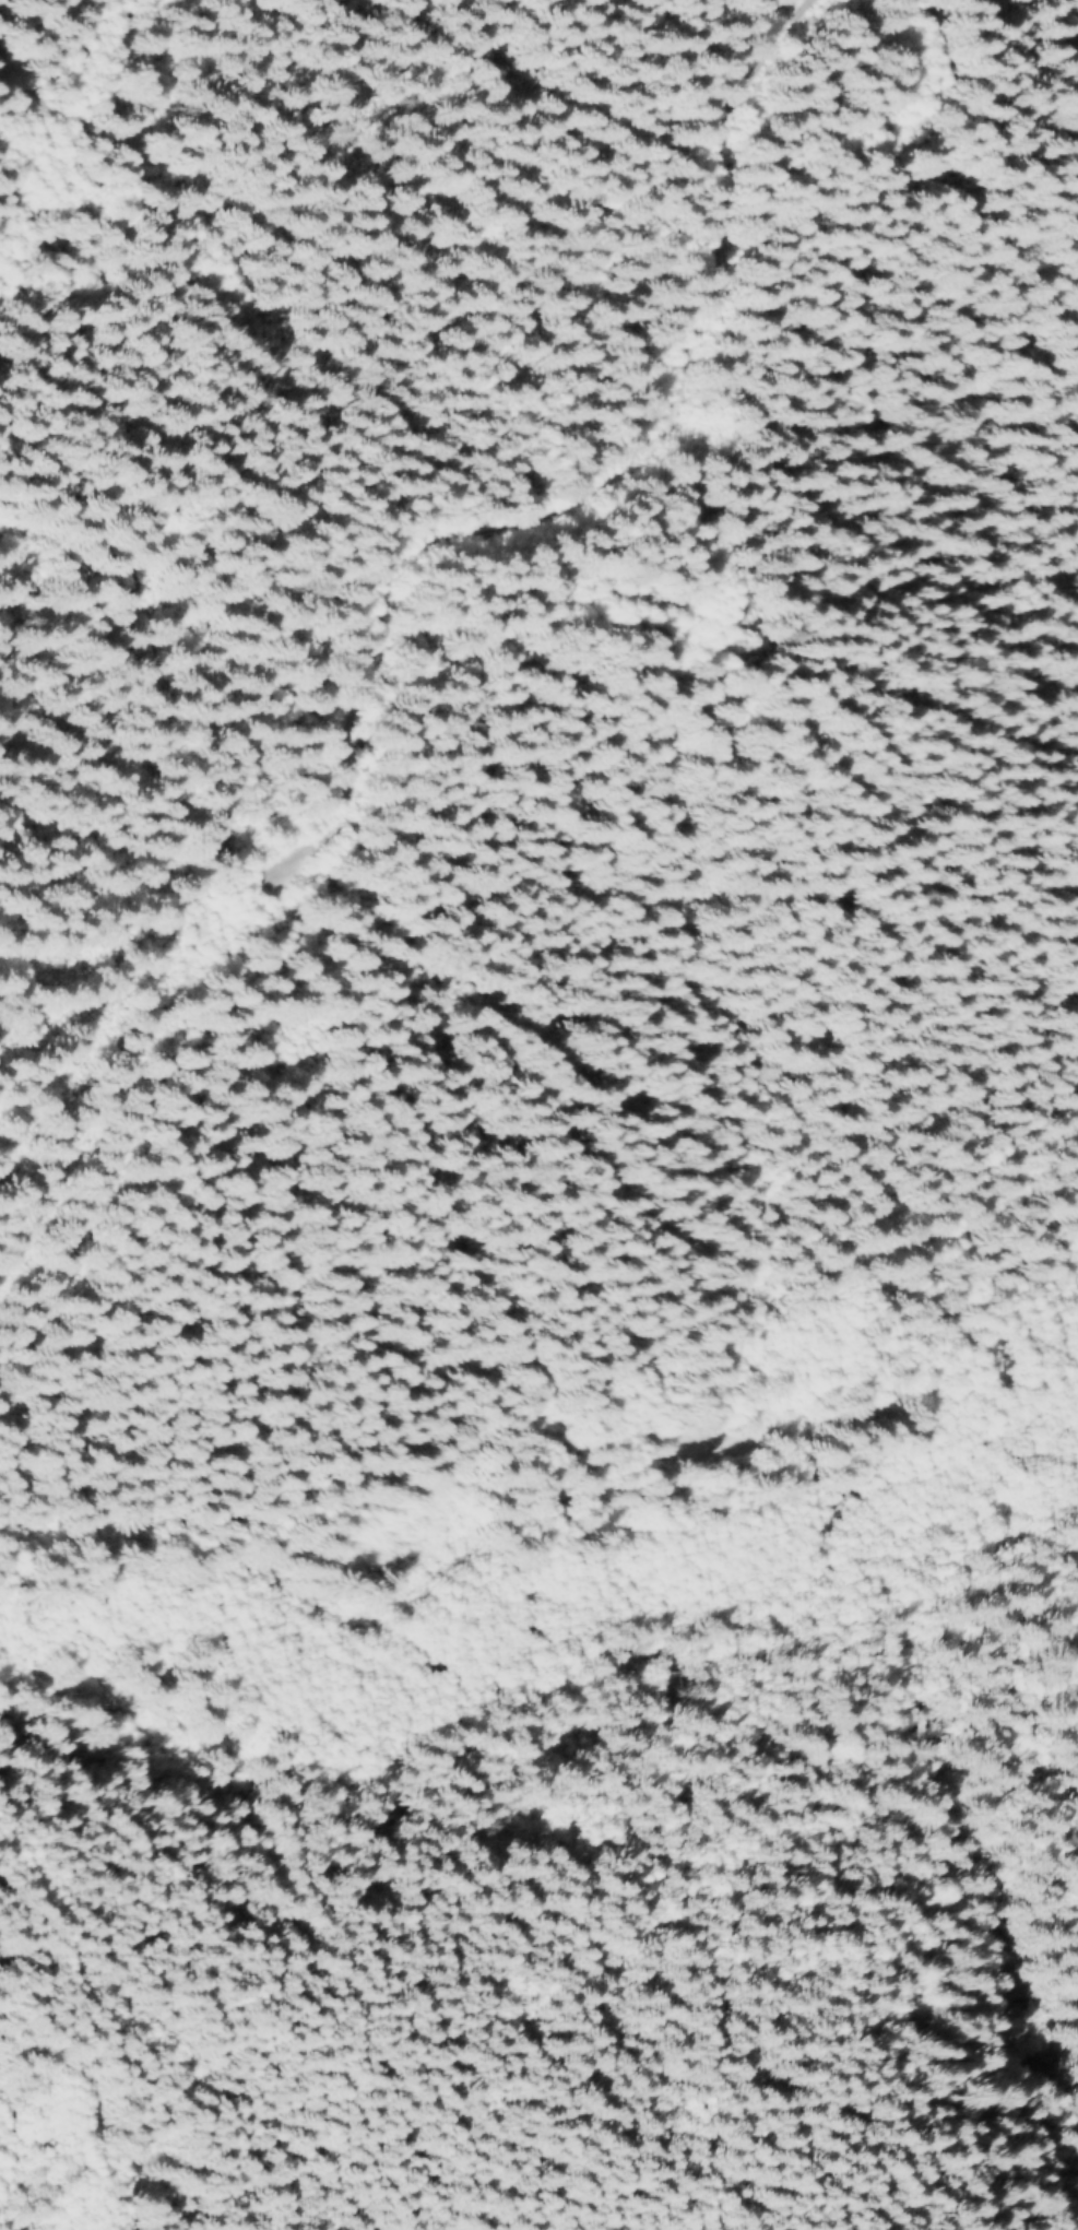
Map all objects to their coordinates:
road: (577, 1442)
river: (559, 1546)

